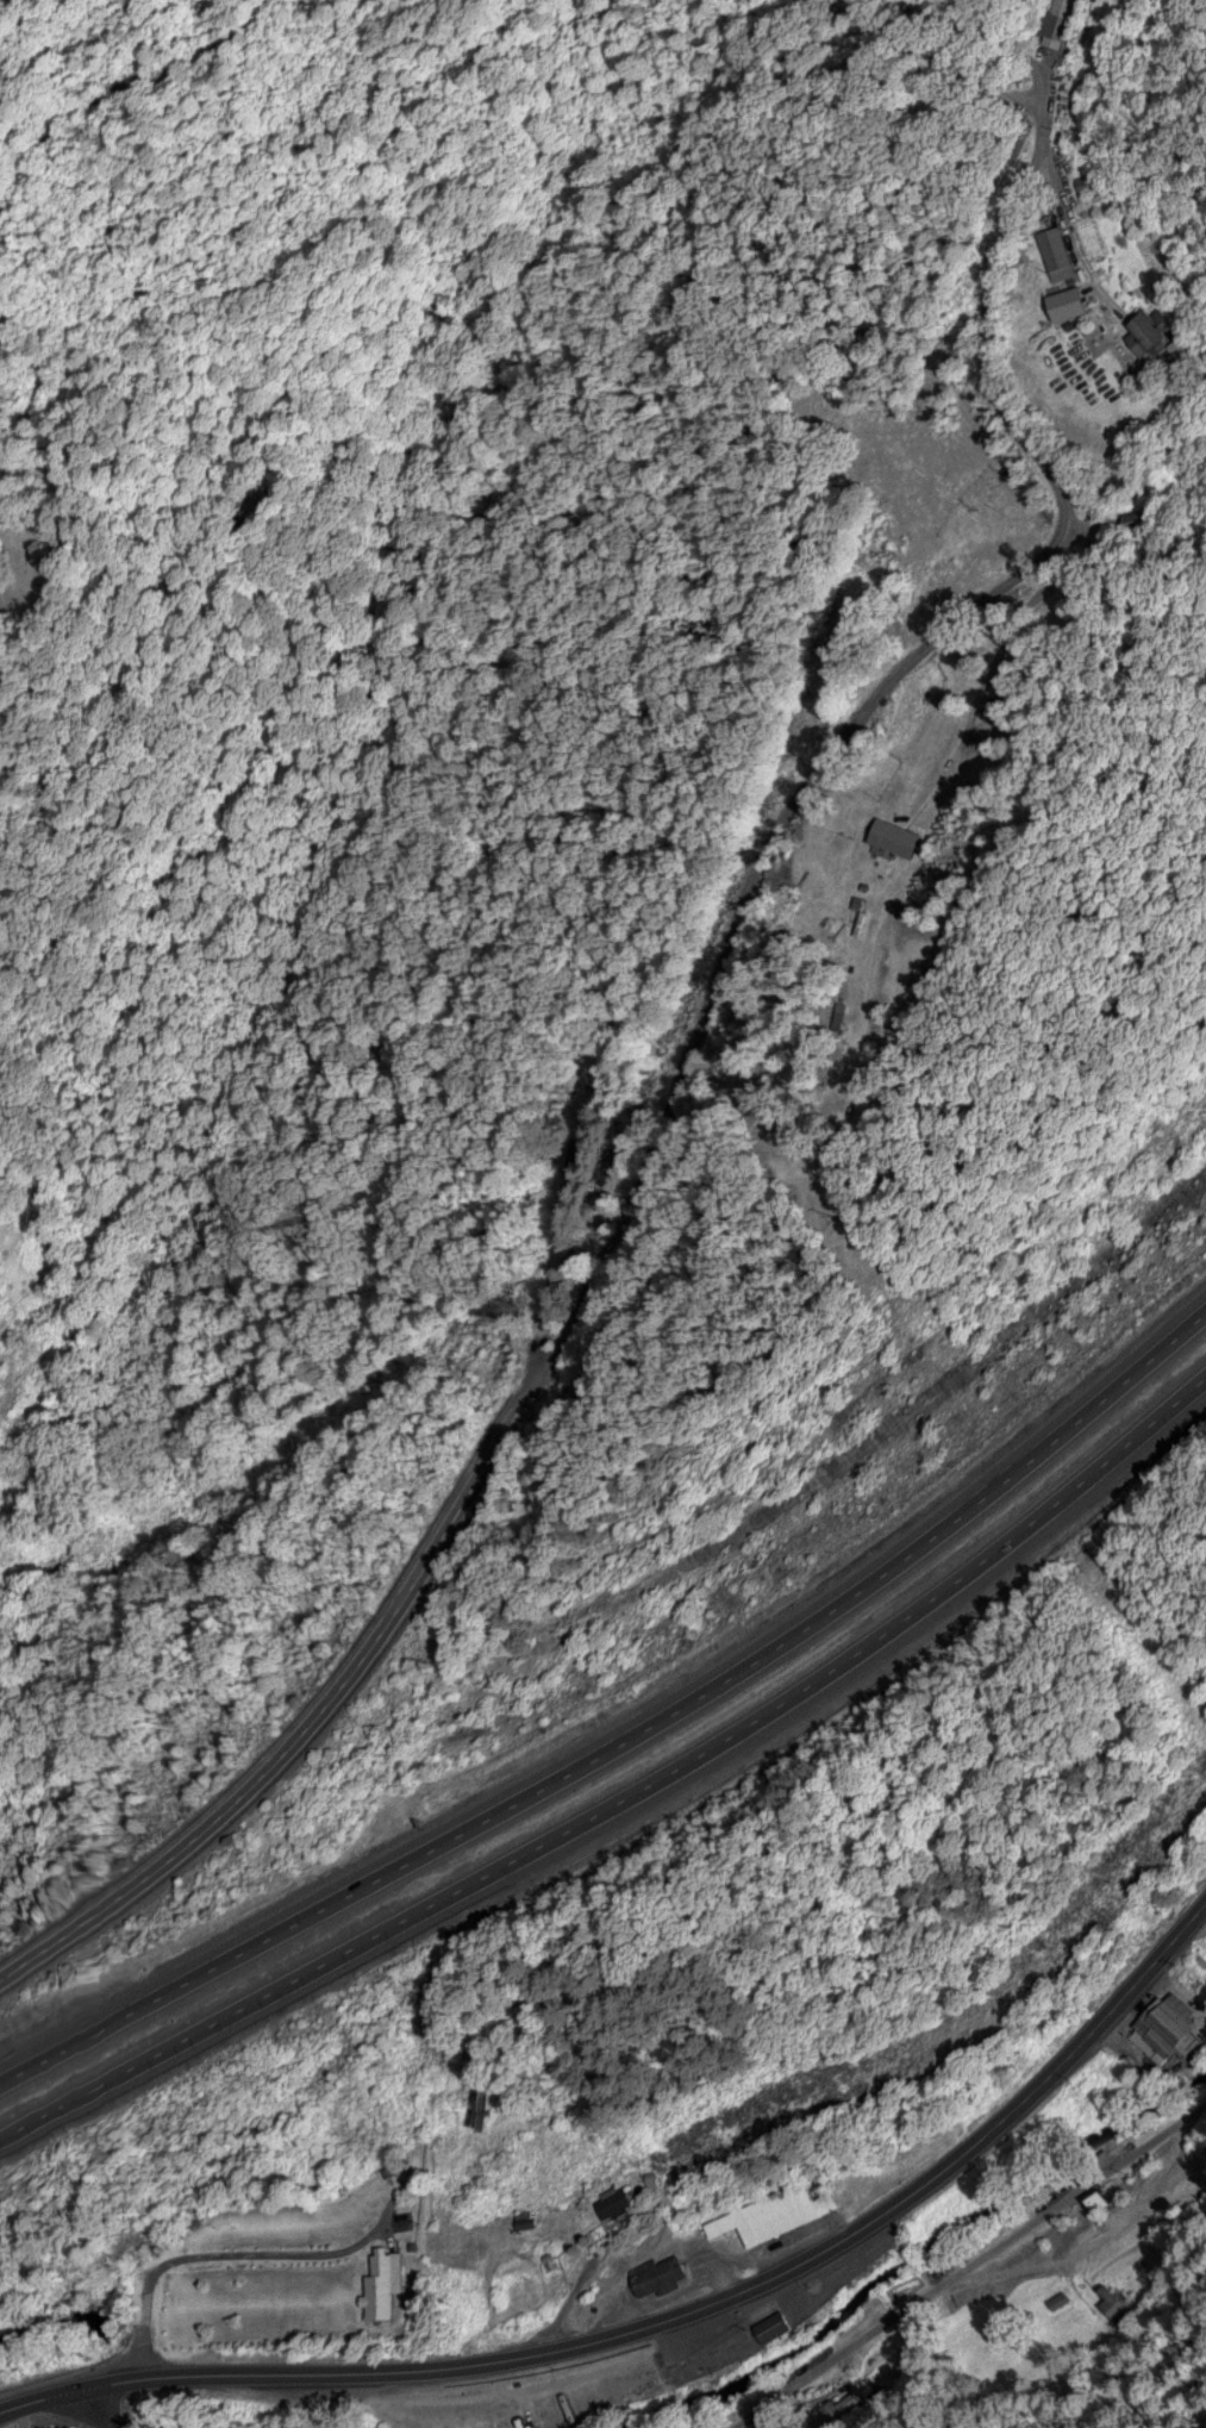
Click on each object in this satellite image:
road: (1050, 36)
building: (1088, 182)
building: (1061, 251)
building: (1157, 326)
building: (900, 835)
road: (680, 1031)
road: (593, 1366)
road: (632, 1740)
road: (629, 1795)
building: (1204, 1934)
building: (1170, 2041)
building: (1098, 2198)
building: (621, 2202)
building: (760, 2218)
road: (970, 2270)
building: (658, 2273)
building: (393, 2282)
building: (1113, 2303)
road: (674, 2312)
building: (777, 2326)
road: (48, 2413)
road: (67, 2413)

